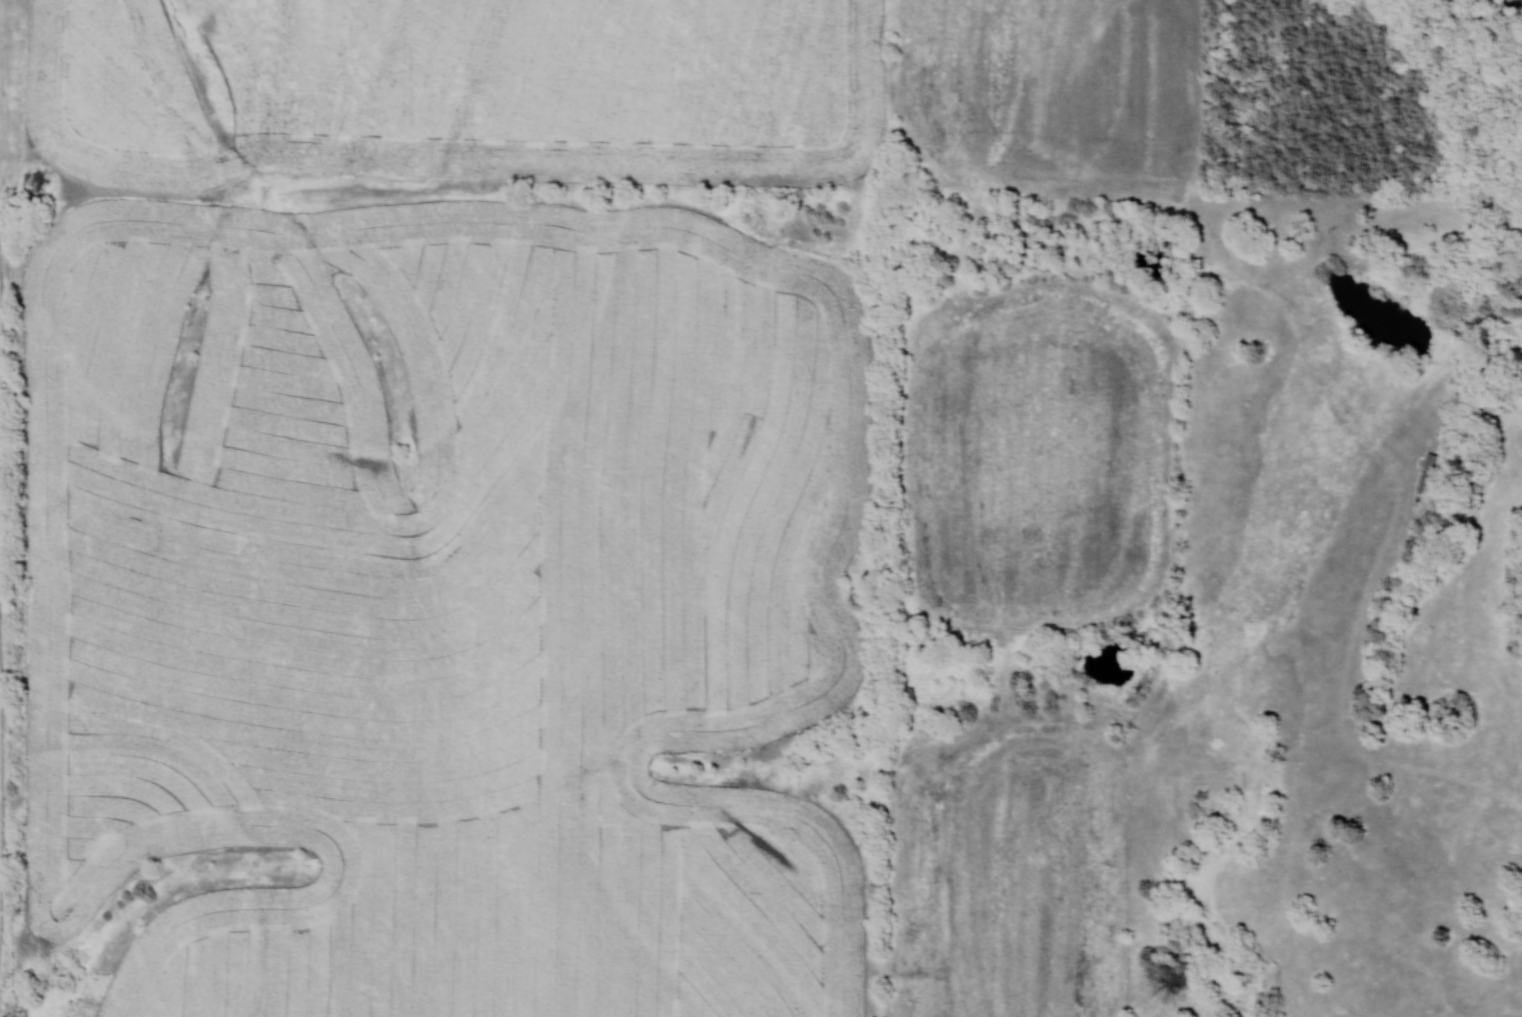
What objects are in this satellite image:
park: (1367, 94)
building: (1432, 472)
building: (1511, 573)

